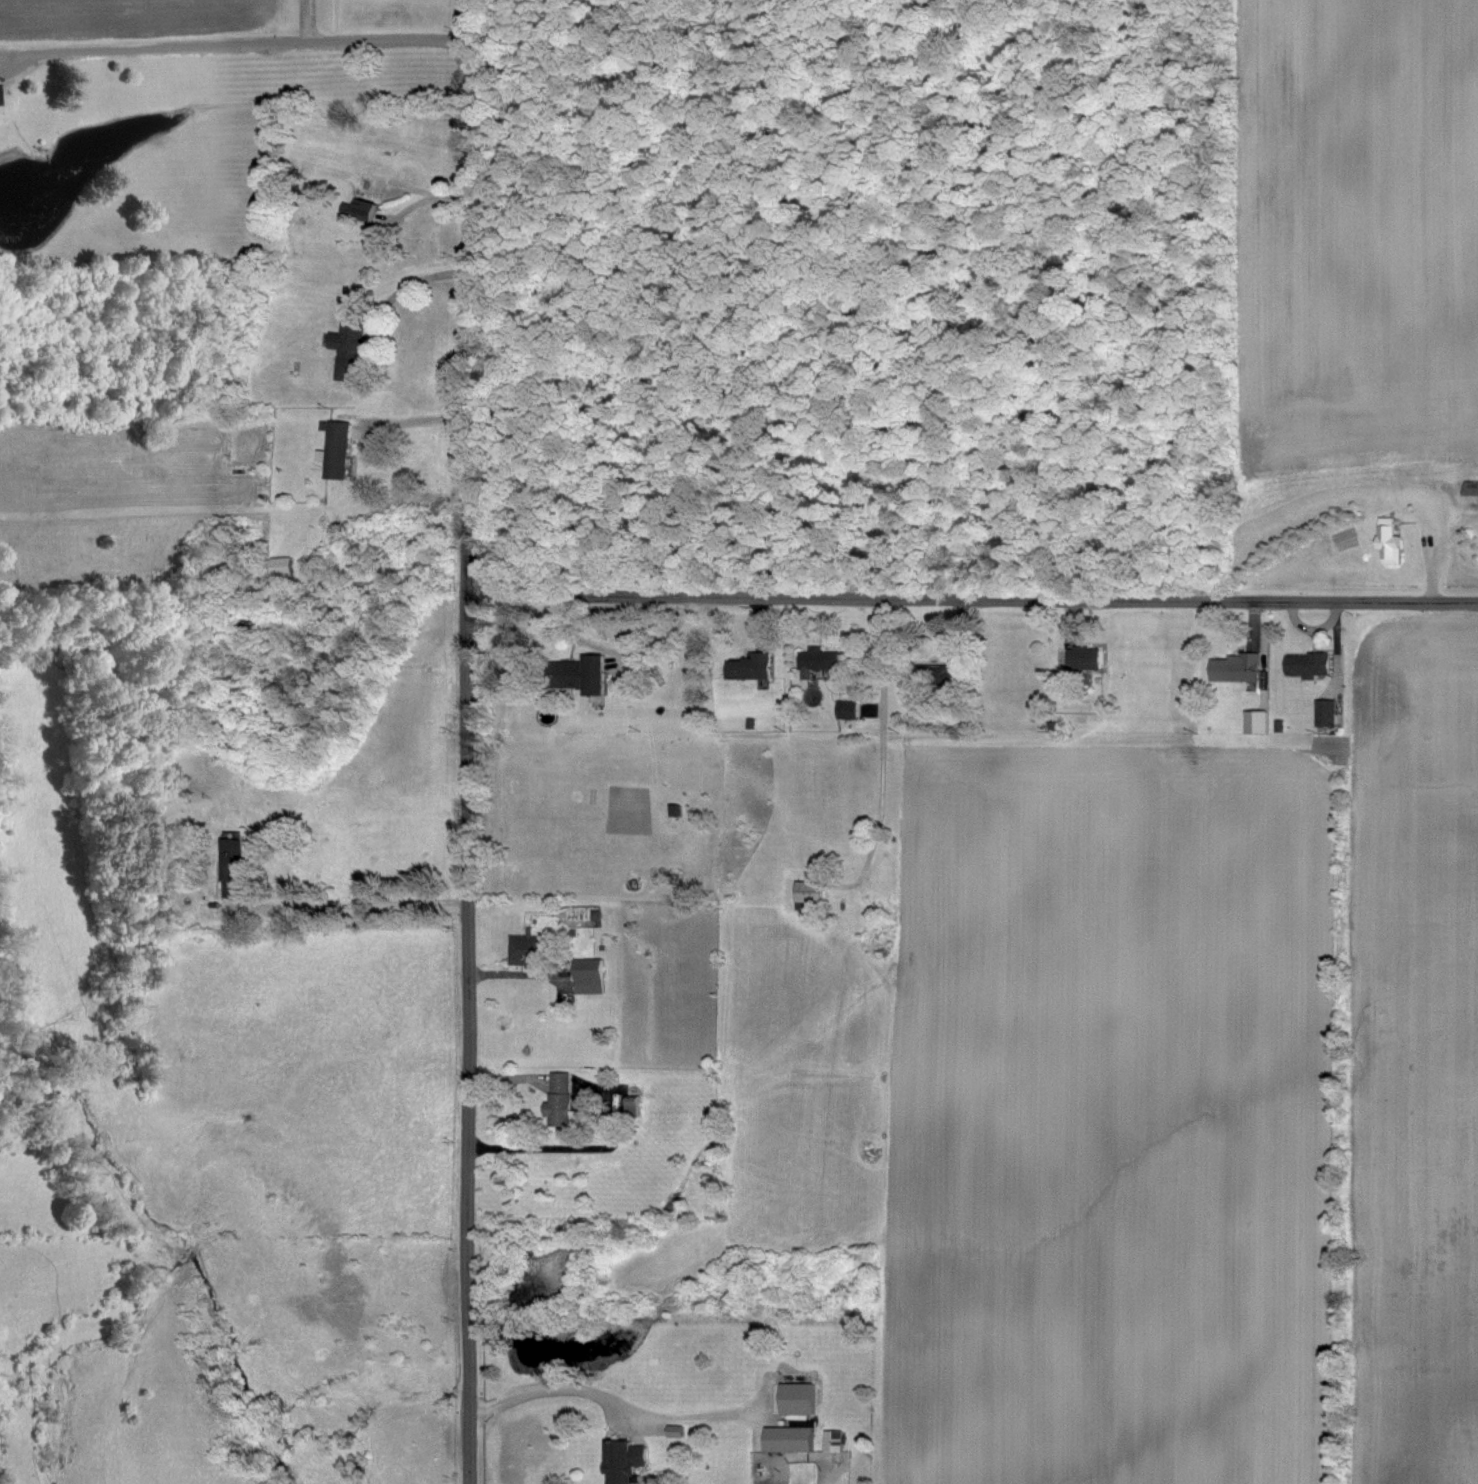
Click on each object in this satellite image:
road: (237, 42)
building: (362, 211)
road: (399, 291)
building: (345, 351)
building: (335, 452)
building: (1471, 497)
building: (1390, 543)
building: (281, 567)
road: (971, 600)
road: (619, 652)
road: (884, 655)
building: (1088, 658)
building: (816, 662)
building: (1306, 665)
building: (748, 668)
building: (1233, 668)
building: (580, 674)
building: (845, 710)
building: (1325, 714)
building: (1255, 722)
road: (465, 741)
building: (230, 871)
building: (809, 892)
road: (357, 904)
building: (521, 951)
road: (516, 976)
building: (588, 977)
road: (545, 1147)
building: (795, 1400)
road: (613, 1403)
building: (787, 1440)
building: (834, 1442)
building: (622, 1461)

